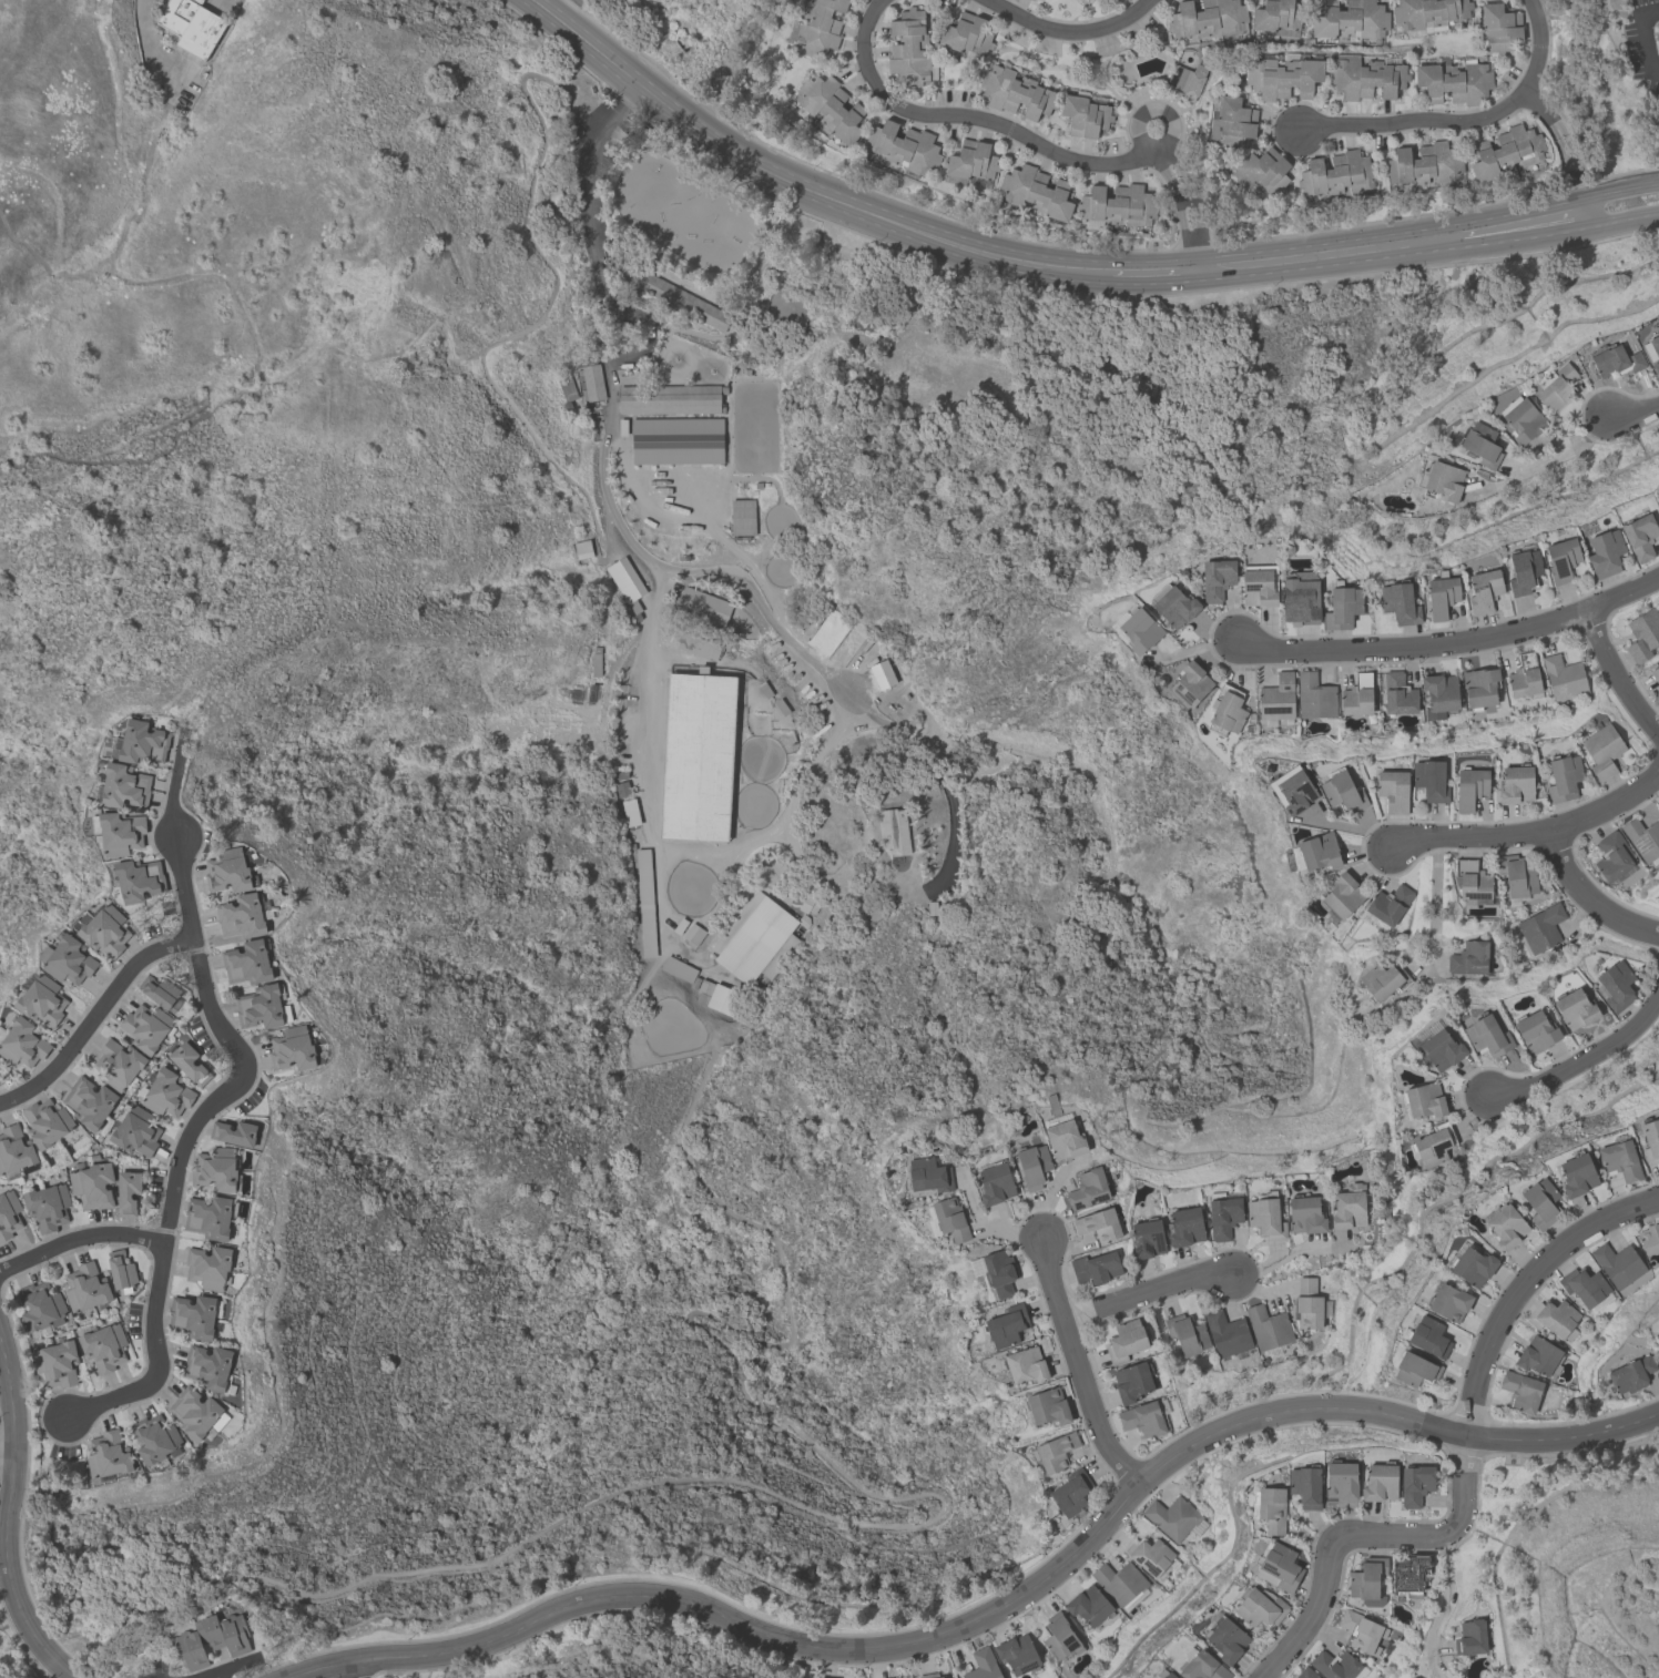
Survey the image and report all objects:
building: (1029, 0)
building: (1031, 0)
road: (218, 1)
building: (1127, 1)
road: (1624, 12)
road: (142, 13)
building: (1428, 13)
building: (1275, 14)
road: (1650, 14)
building: (1208, 18)
building: (1350, 19)
building: (191, 24)
building: (1500, 28)
building: (820, 29)
road: (1068, 32)
building: (967, 37)
parking lot: (1643, 44)
road: (1648, 47)
park: (712, 49)
building: (908, 49)
building: (1282, 79)
building: (1365, 79)
building: (1188, 80)
building: (1454, 81)
park: (1599, 87)
building: (1015, 93)
road: (1537, 105)
building: (829, 109)
building: (1085, 118)
road: (977, 120)
road: (1415, 120)
building: (1231, 124)
building: (904, 149)
building: (1507, 152)
building: (971, 163)
building: (1425, 165)
building: (1263, 172)
building: (1337, 175)
road: (1614, 184)
road: (797, 185)
building: (1036, 195)
road: (1187, 199)
road: (1195, 200)
road: (591, 204)
building: (1117, 206)
road: (1179, 207)
road: (1618, 215)
road: (1519, 222)
road: (1331, 252)
road: (1156, 272)
building: (682, 301)
building: (1652, 354)
building: (1617, 358)
building: (584, 362)
building: (589, 383)
building: (1555, 388)
building: (566, 389)
building: (723, 389)
building: (669, 398)
building: (566, 405)
road: (1631, 411)
building: (1521, 420)
building: (621, 426)
park: (1080, 429)
building: (675, 440)
building: (1480, 445)
road: (1548, 456)
building: (1442, 480)
building: (741, 517)
building: (1639, 538)
building: (582, 548)
building: (1605, 556)
building: (1561, 561)
building: (1524, 571)
building: (1215, 577)
building: (624, 579)
building: (1259, 583)
building: (1483, 592)
building: (1300, 597)
building: (1441, 597)
building: (1173, 602)
building: (1398, 603)
building: (1342, 604)
building: (703, 606)
road: (761, 607)
building: (1139, 627)
building: (1643, 633)
road: (1454, 641)
building: (694, 644)
building: (596, 664)
building: (1655, 672)
building: (882, 673)
building: (1525, 674)
road: (1611, 674)
building: (1563, 677)
building: (1190, 681)
building: (1480, 687)
building: (764, 689)
building: (1398, 693)
building: (1439, 693)
building: (1357, 694)
building: (1314, 695)
building: (1278, 698)
building: (781, 706)
building: (1227, 709)
building: (142, 741)
building: (1604, 750)
building: (696, 755)
building: (620, 774)
building: (1564, 776)
building: (1431, 777)
building: (1516, 782)
building: (125, 783)
building: (1470, 785)
building: (1293, 787)
building: (622, 789)
building: (1393, 789)
building: (1343, 790)
building: (629, 812)
building: (120, 830)
building: (894, 831)
road: (1529, 834)
building: (1642, 837)
road: (655, 841)
building: (1319, 850)
building: (1611, 855)
building: (230, 869)
building: (1516, 876)
building: (139, 878)
building: (1472, 878)
building: (1342, 894)
road: (1434, 896)
road: (1589, 897)
building: (644, 902)
building: (1388, 903)
building: (808, 904)
building: (932, 907)
building: (242, 915)
building: (804, 919)
building: (680, 925)
building: (103, 928)
building: (1540, 928)
building: (693, 935)
building: (756, 939)
building: (68, 957)
building: (1469, 957)
building: (247, 960)
building: (678, 968)
building: (1384, 978)
building: (694, 982)
building: (1616, 984)
building: (703, 990)
building: (160, 991)
building: (42, 998)
building: (723, 999)
building: (259, 1005)
building: (1576, 1007)
road: (94, 1016)
building: (145, 1026)
building: (1536, 1030)
building: (1487, 1034)
building: (23, 1041)
building: (293, 1047)
building: (1439, 1047)
road: (1579, 1059)
building: (118, 1062)
building: (189, 1062)
building: (166, 1092)
building: (1424, 1099)
building: (89, 1101)
road: (211, 1102)
building: (45, 1121)
building: (135, 1130)
building: (234, 1131)
building: (1065, 1139)
building: (1650, 1139)
building: (1433, 1143)
building: (14, 1149)
building: (1620, 1158)
building: (1034, 1165)
building: (215, 1168)
building: (1578, 1173)
building: (928, 1174)
building: (995, 1183)
building: (92, 1184)
building: (1088, 1188)
building: (128, 1191)
building: (1541, 1201)
building: (47, 1206)
building: (1348, 1207)
building: (9, 1213)
building: (1223, 1213)
building: (1305, 1213)
building: (1265, 1214)
building: (208, 1216)
building: (949, 1219)
road: (988, 1224)
building: (1099, 1224)
building: (1507, 1224)
building: (1185, 1226)
building: (1147, 1237)
building: (1649, 1238)
road: (79, 1239)
road: (1291, 1255)
building: (1618, 1263)
building: (1474, 1264)
building: (1096, 1265)
building: (208, 1267)
building: (121, 1270)
building: (999, 1272)
road: (1523, 1283)
building: (1584, 1285)
building: (85, 1287)
road: (1154, 1290)
building: (1449, 1300)
building: (1307, 1303)
building: (40, 1304)
building: (193, 1315)
building: (1553, 1315)
building: (1006, 1325)
building: (1268, 1326)
building: (1187, 1333)
building: (1227, 1333)
building: (1428, 1335)
building: (1658, 1335)
building: (1658, 1339)
building: (1126, 1340)
building: (103, 1346)
building: (1538, 1355)
building: (57, 1362)
building: (207, 1365)
building: (1026, 1365)
road: (1080, 1366)
building: (1415, 1369)
building: (1631, 1373)
building: (1132, 1381)
building: (1521, 1390)
building: (1048, 1406)
building: (194, 1412)
building: (1142, 1417)
building: (155, 1437)
road: (1566, 1437)
building: (1056, 1451)
building: (108, 1454)
road: (8, 1455)
road: (844, 1475)
building: (1341, 1479)
building: (1380, 1482)
building: (1415, 1484)
building: (1305, 1485)
building: (1070, 1493)
building: (1271, 1508)
building: (1174, 1517)
road: (8, 1518)
road: (1363, 1538)
building: (1149, 1555)
building: (1279, 1566)
building: (1409, 1574)
building: (1367, 1580)
building: (1120, 1584)
building: (1089, 1605)
building: (1260, 1606)
road: (1444, 1608)
building: (1362, 1631)
building: (1058, 1637)
building: (1470, 1637)
building: (1225, 1639)
building: (214, 1640)
road: (907, 1645)
building: (1017, 1654)
road: (807, 1662)
building: (983, 1665)
building: (1336, 1665)
building: (1202, 1667)
road: (354, 1669)
building: (1164, 1674)
building: (1305, 1674)
building: (930, 1676)

